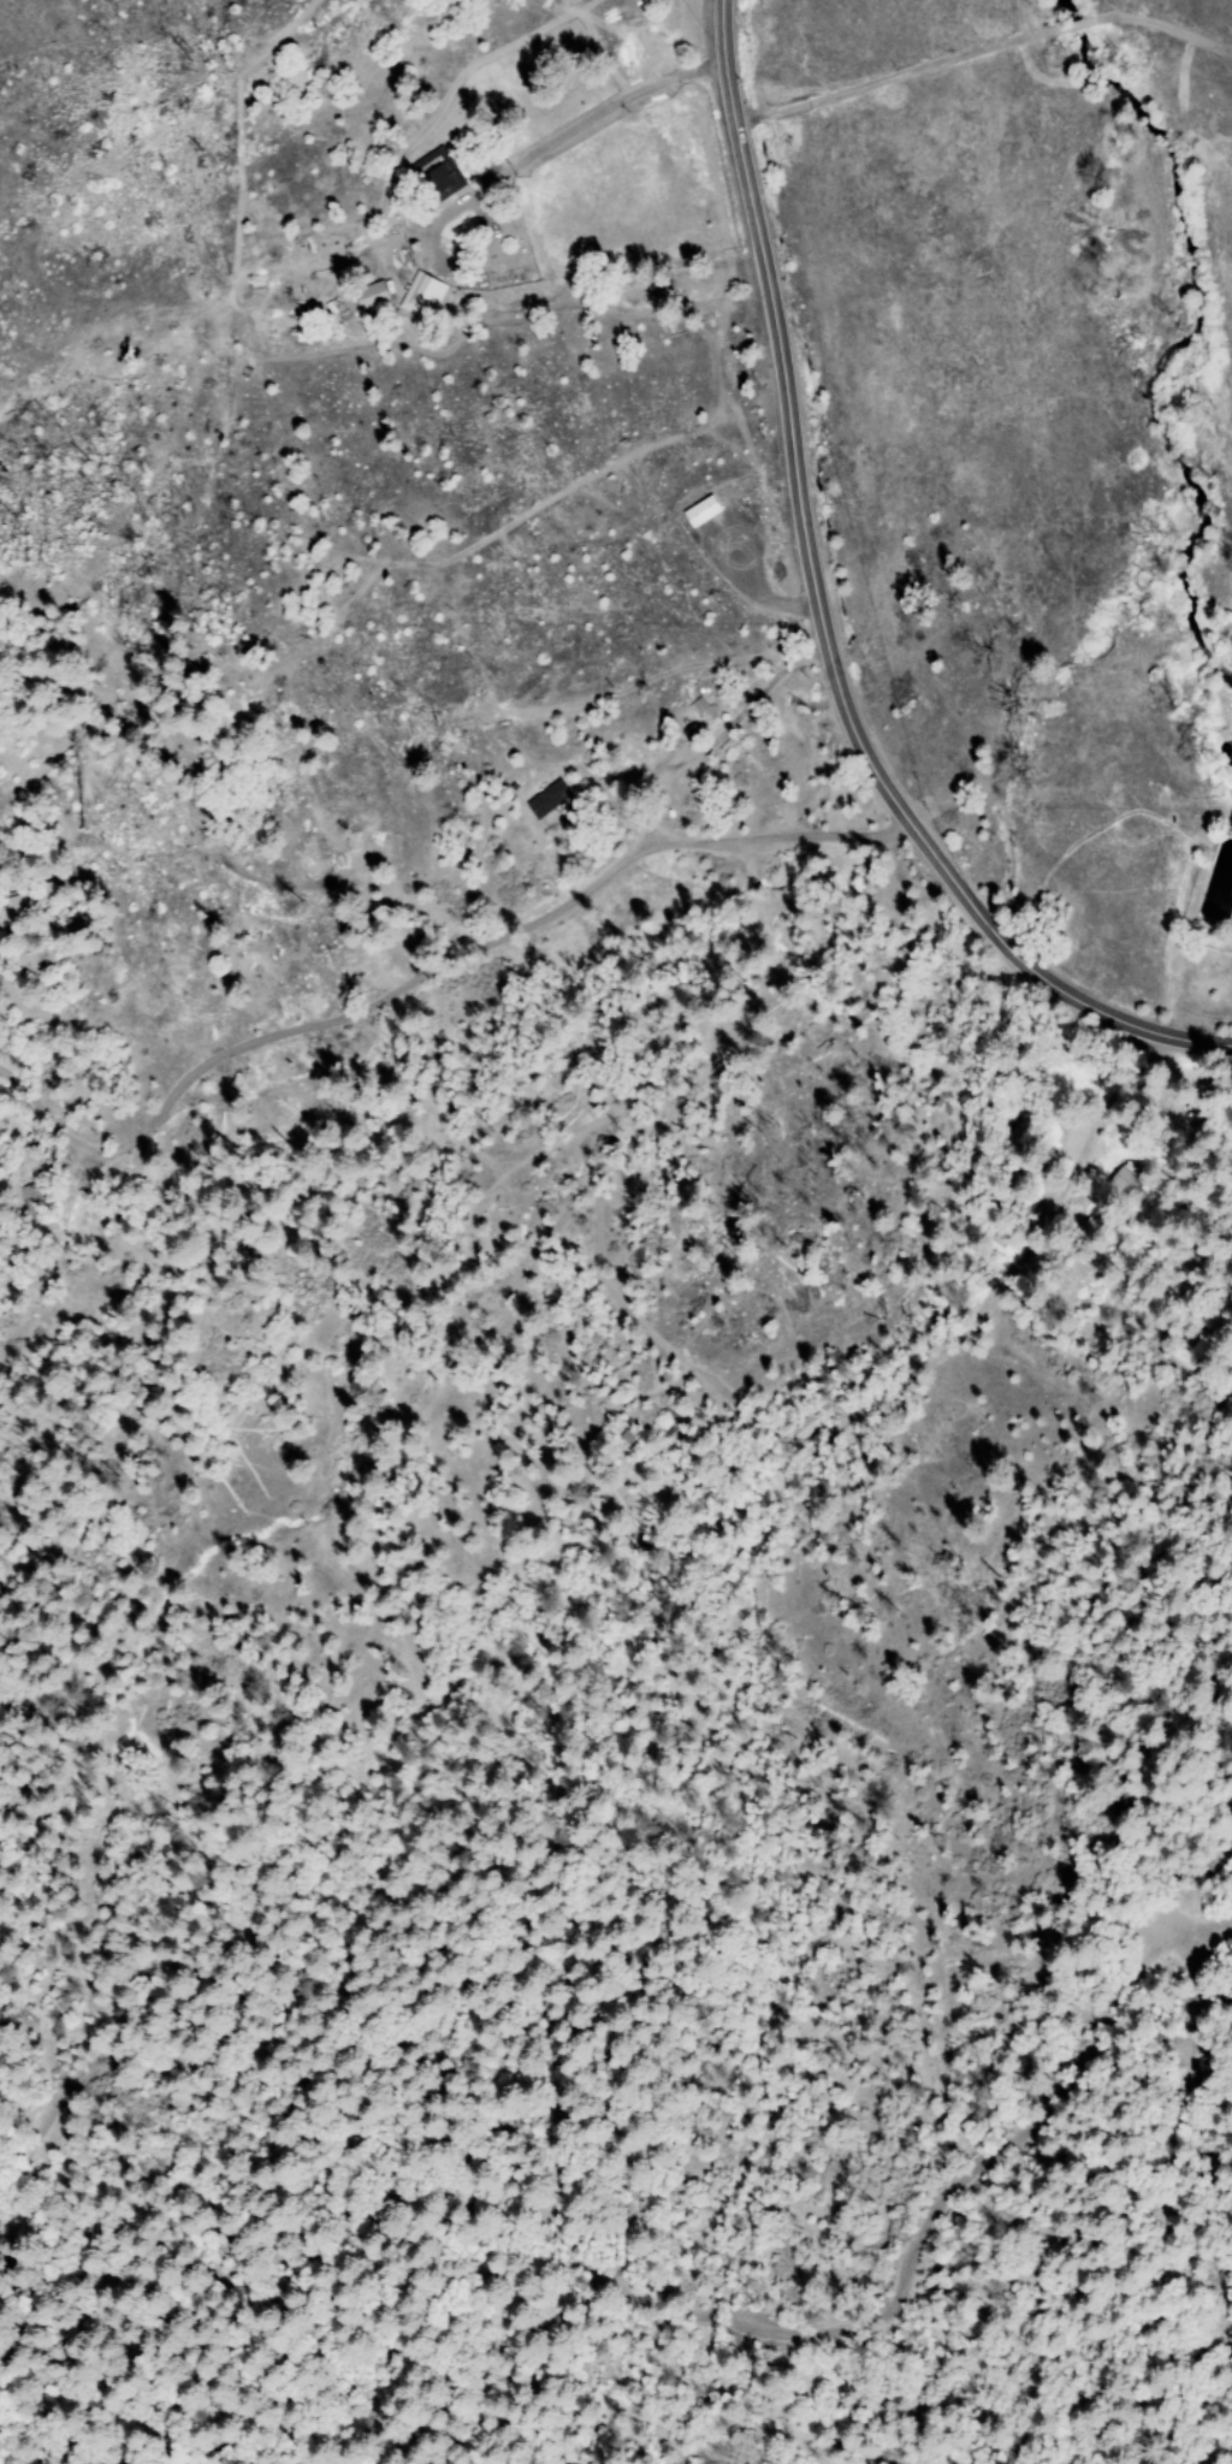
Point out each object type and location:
road: (565, 7)
road: (983, 53)
road: (456, 79)
road: (239, 128)
road: (551, 140)
building: (433, 174)
road: (417, 229)
building: (367, 295)
building: (420, 295)
road: (373, 344)
road: (629, 454)
road: (751, 590)
road: (819, 622)
road: (302, 647)
road: (644, 680)
road: (711, 741)
building: (545, 798)
road: (466, 950)
road: (29, 1100)

